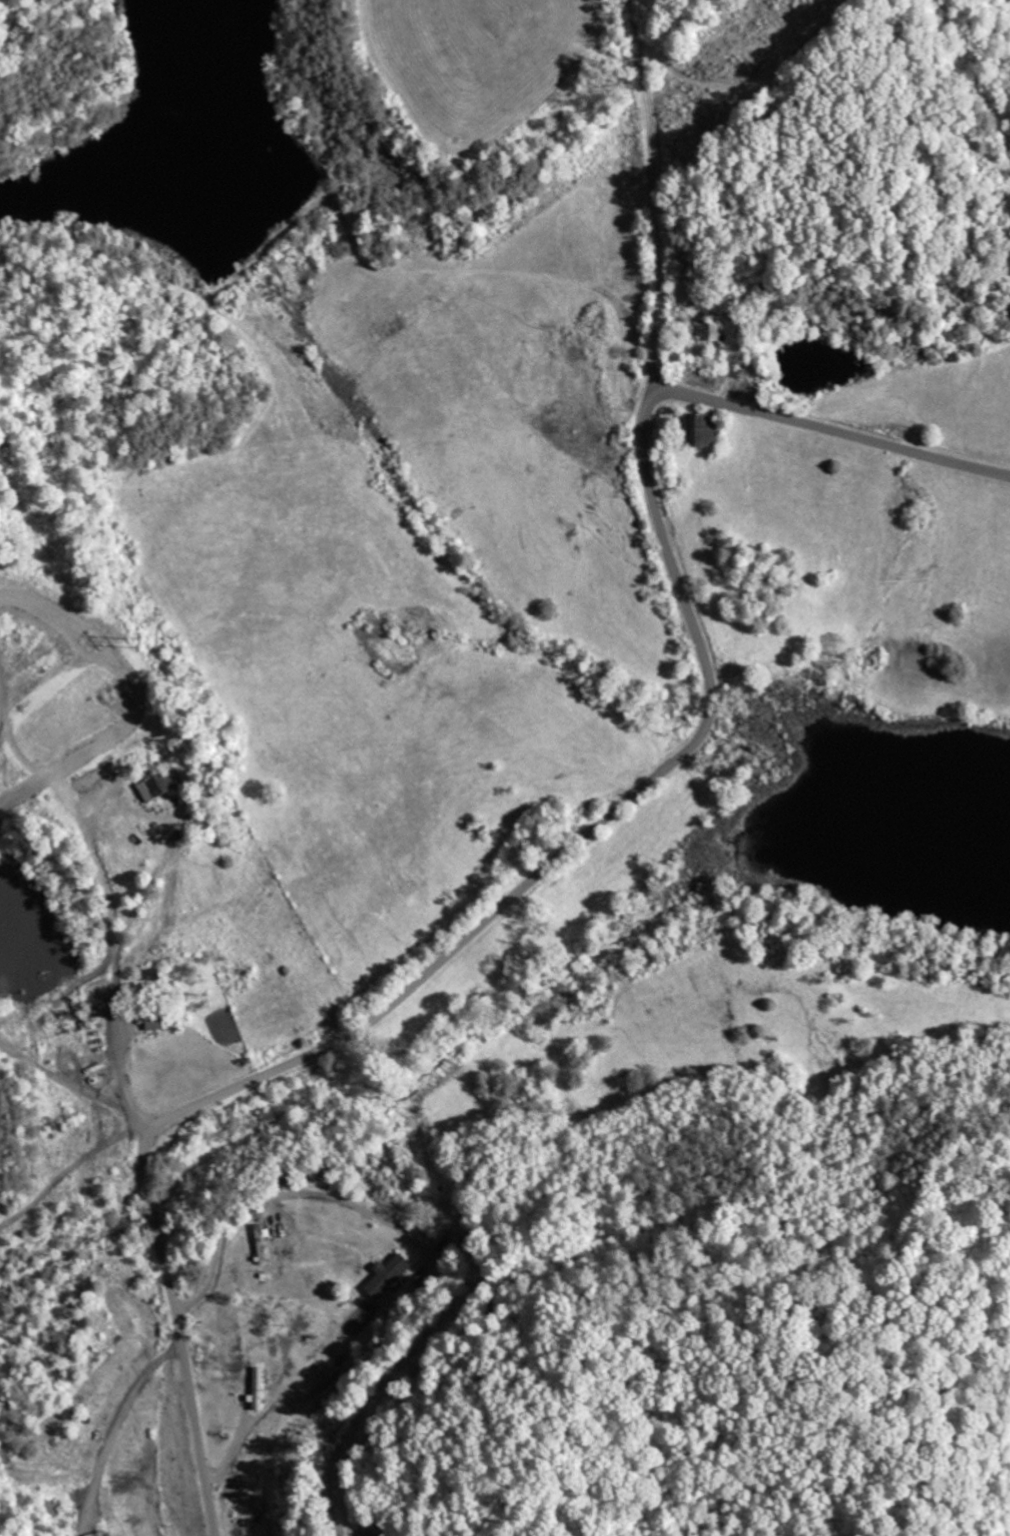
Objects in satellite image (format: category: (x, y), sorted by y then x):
road: (653, 152)
building: (710, 330)
road: (654, 352)
building: (709, 430)
building: (163, 786)
road: (559, 856)
building: (158, 1022)
building: (387, 1276)
building: (259, 1387)
building: (103, 1533)

